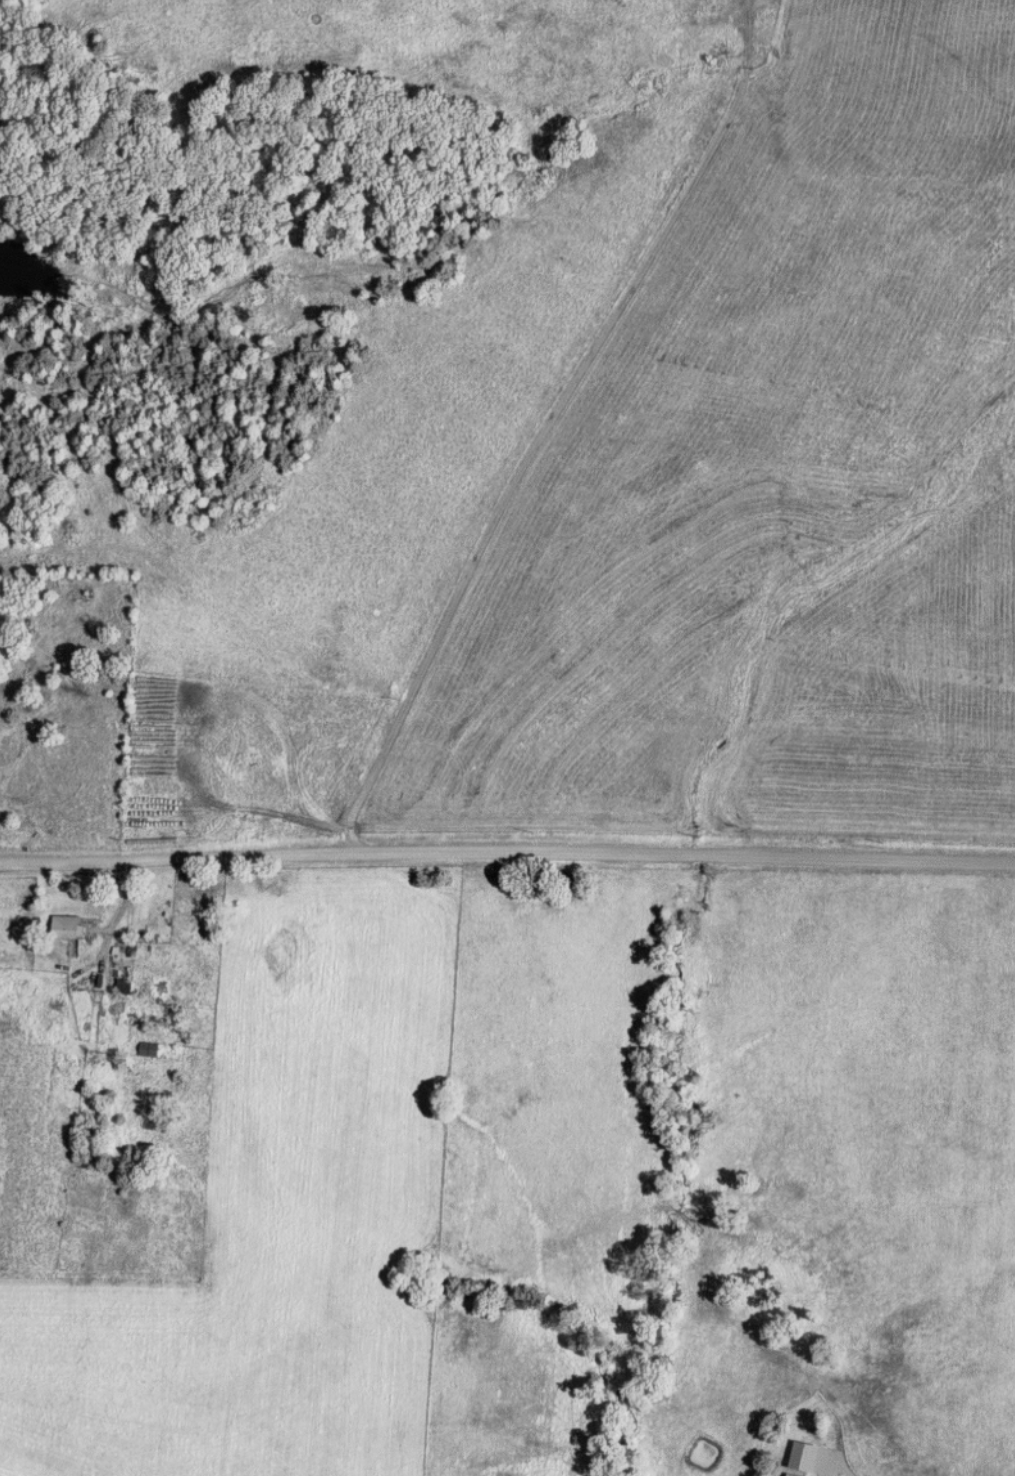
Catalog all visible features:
road: (539, 437)
road: (507, 865)
building: (69, 929)
building: (161, 988)
building: (150, 1049)
building: (803, 1459)

